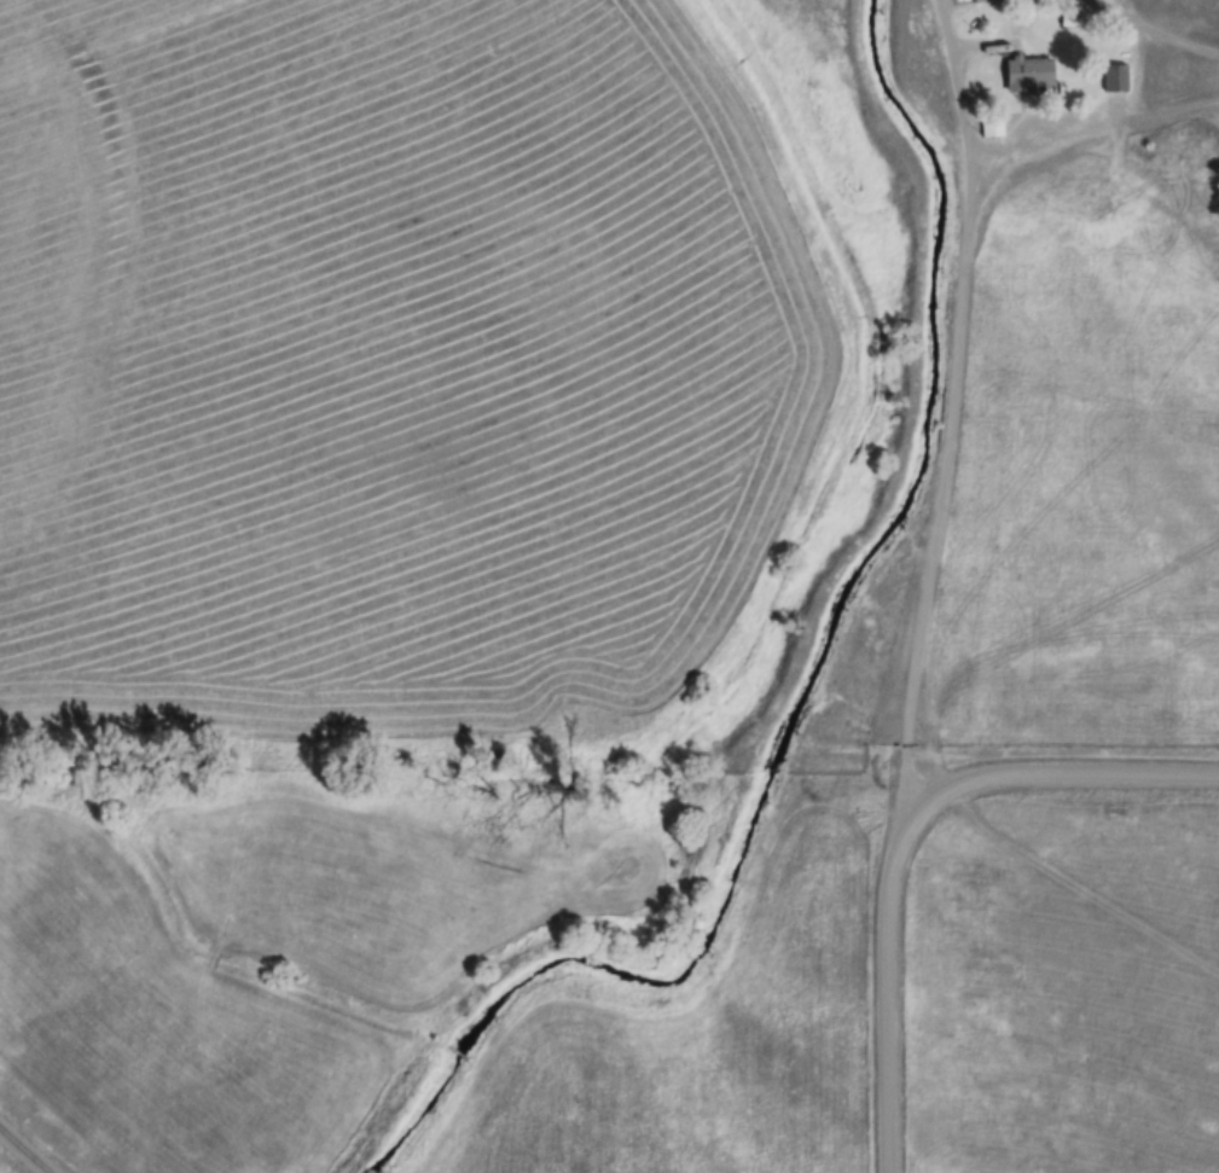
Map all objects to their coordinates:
road: (1154, 30)
building: (1028, 74)
building: (1116, 77)
road: (1085, 129)
road: (956, 407)
road: (901, 832)
road: (1079, 889)
railway: (24, 1151)

